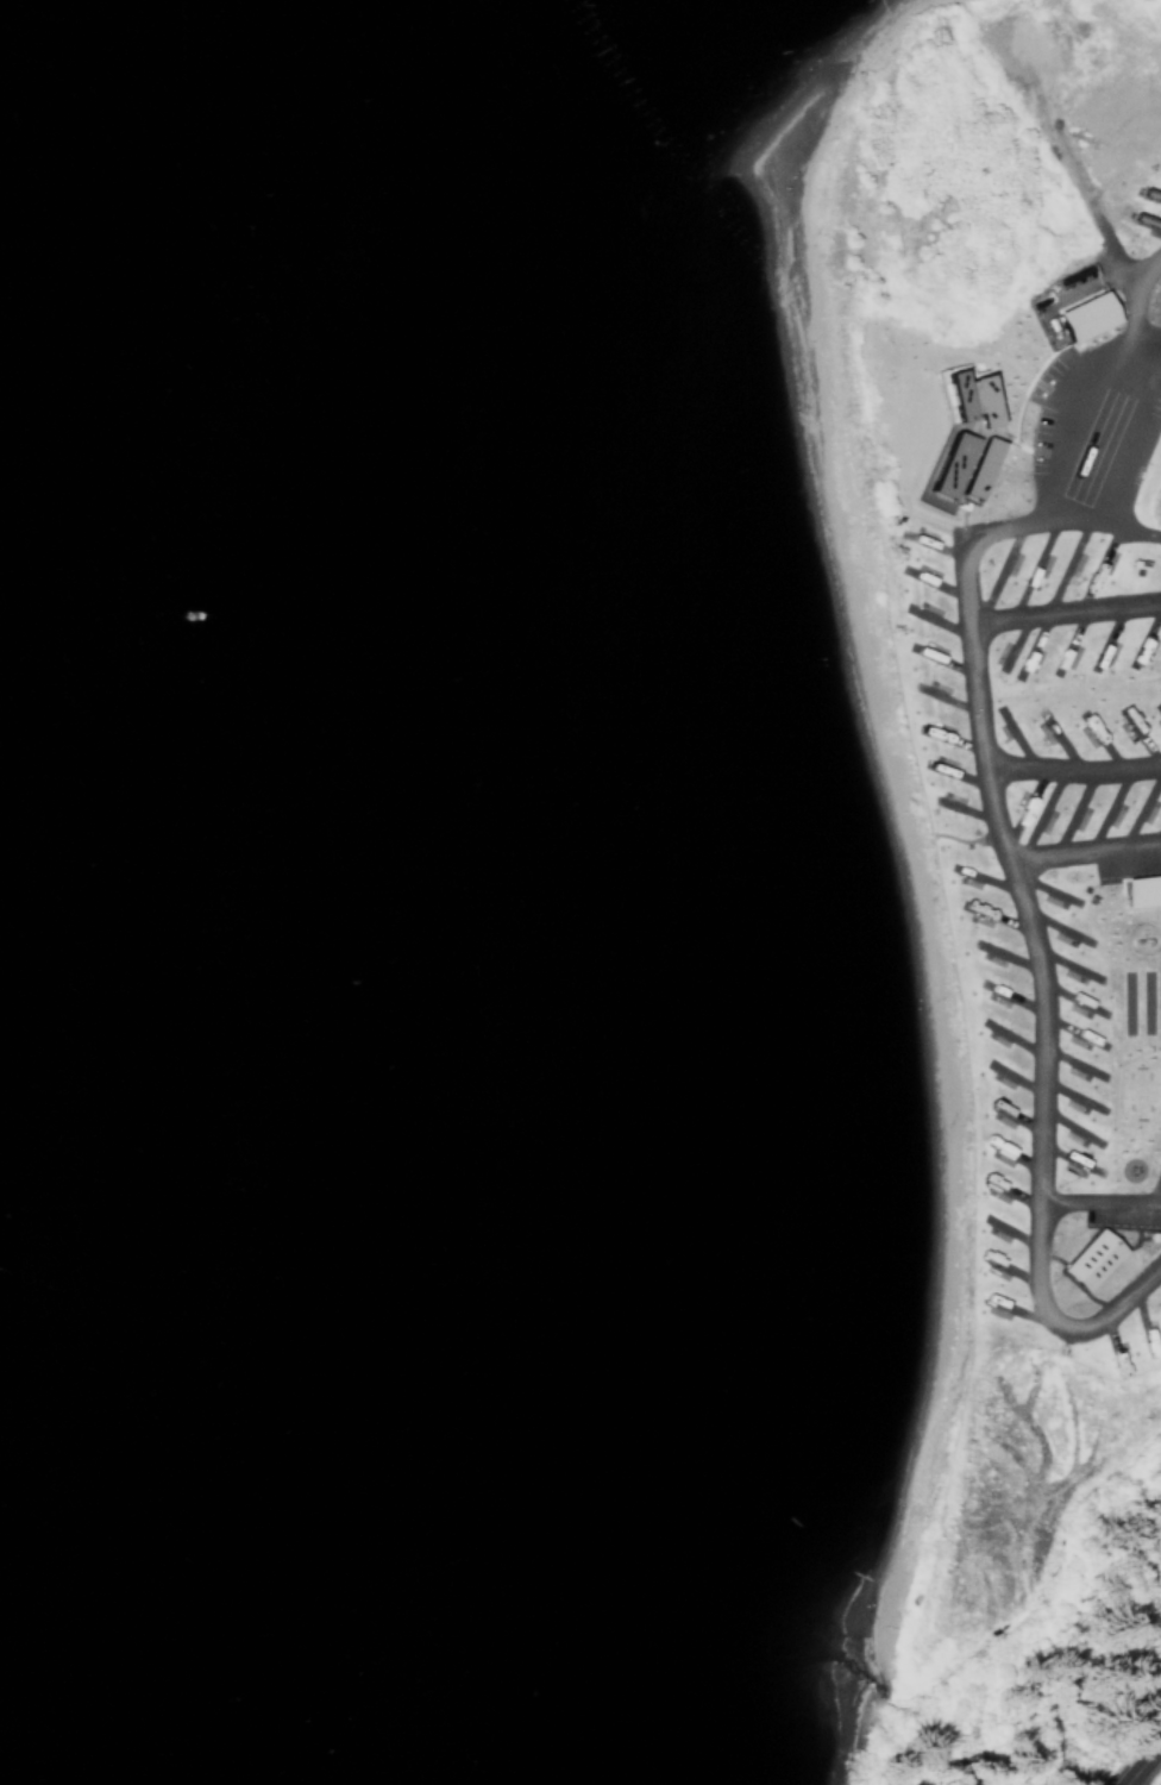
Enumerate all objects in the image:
building: (1080, 315)
building: (962, 397)
road: (1022, 463)
building: (952, 469)
building: (1136, 889)
building: (1085, 1259)
road: (1140, 1758)
road: (1123, 1784)

